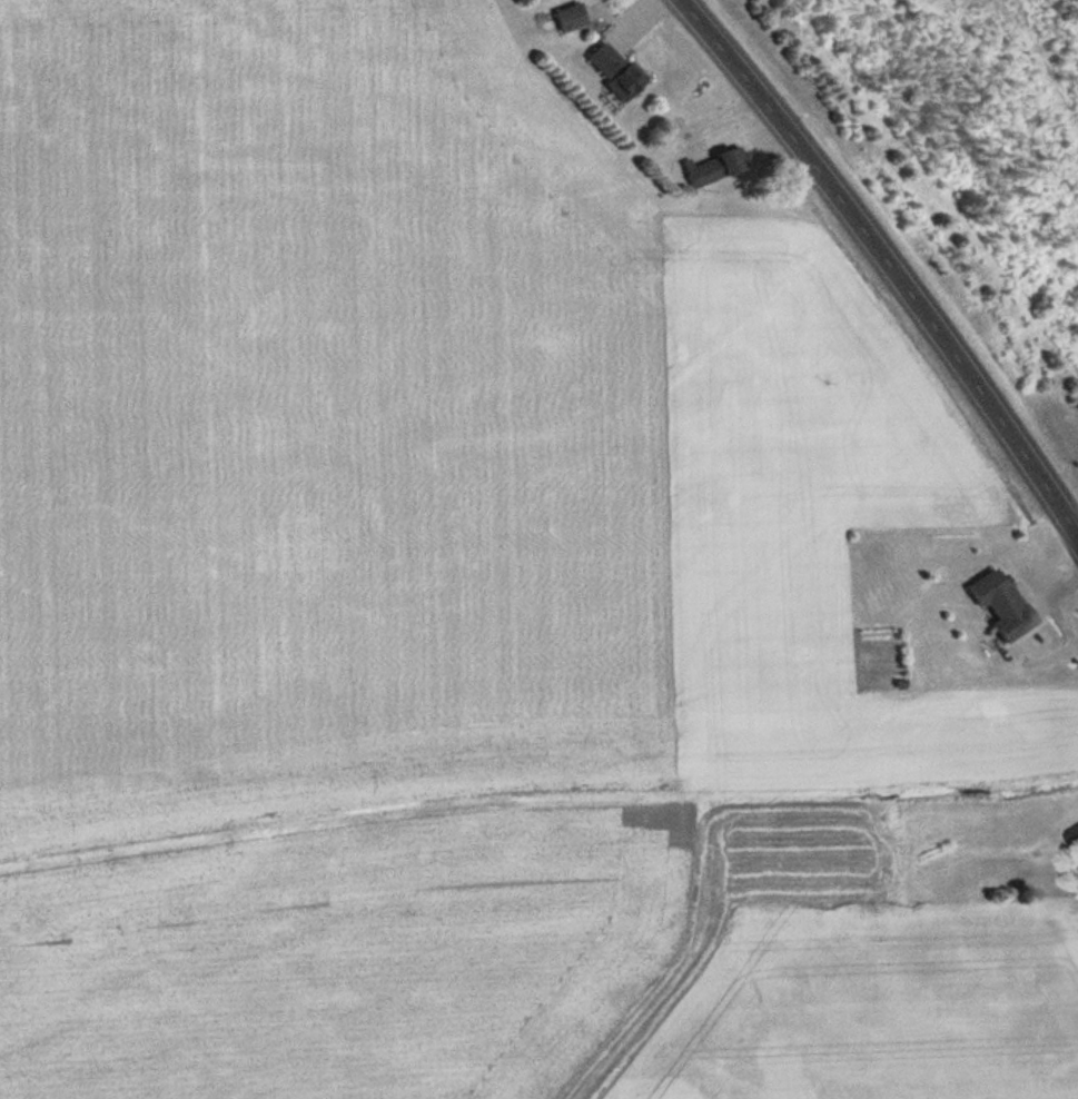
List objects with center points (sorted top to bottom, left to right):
building: (573, 16)
building: (617, 69)
building: (718, 167)
road: (888, 259)
building: (1005, 604)
building: (1076, 834)

